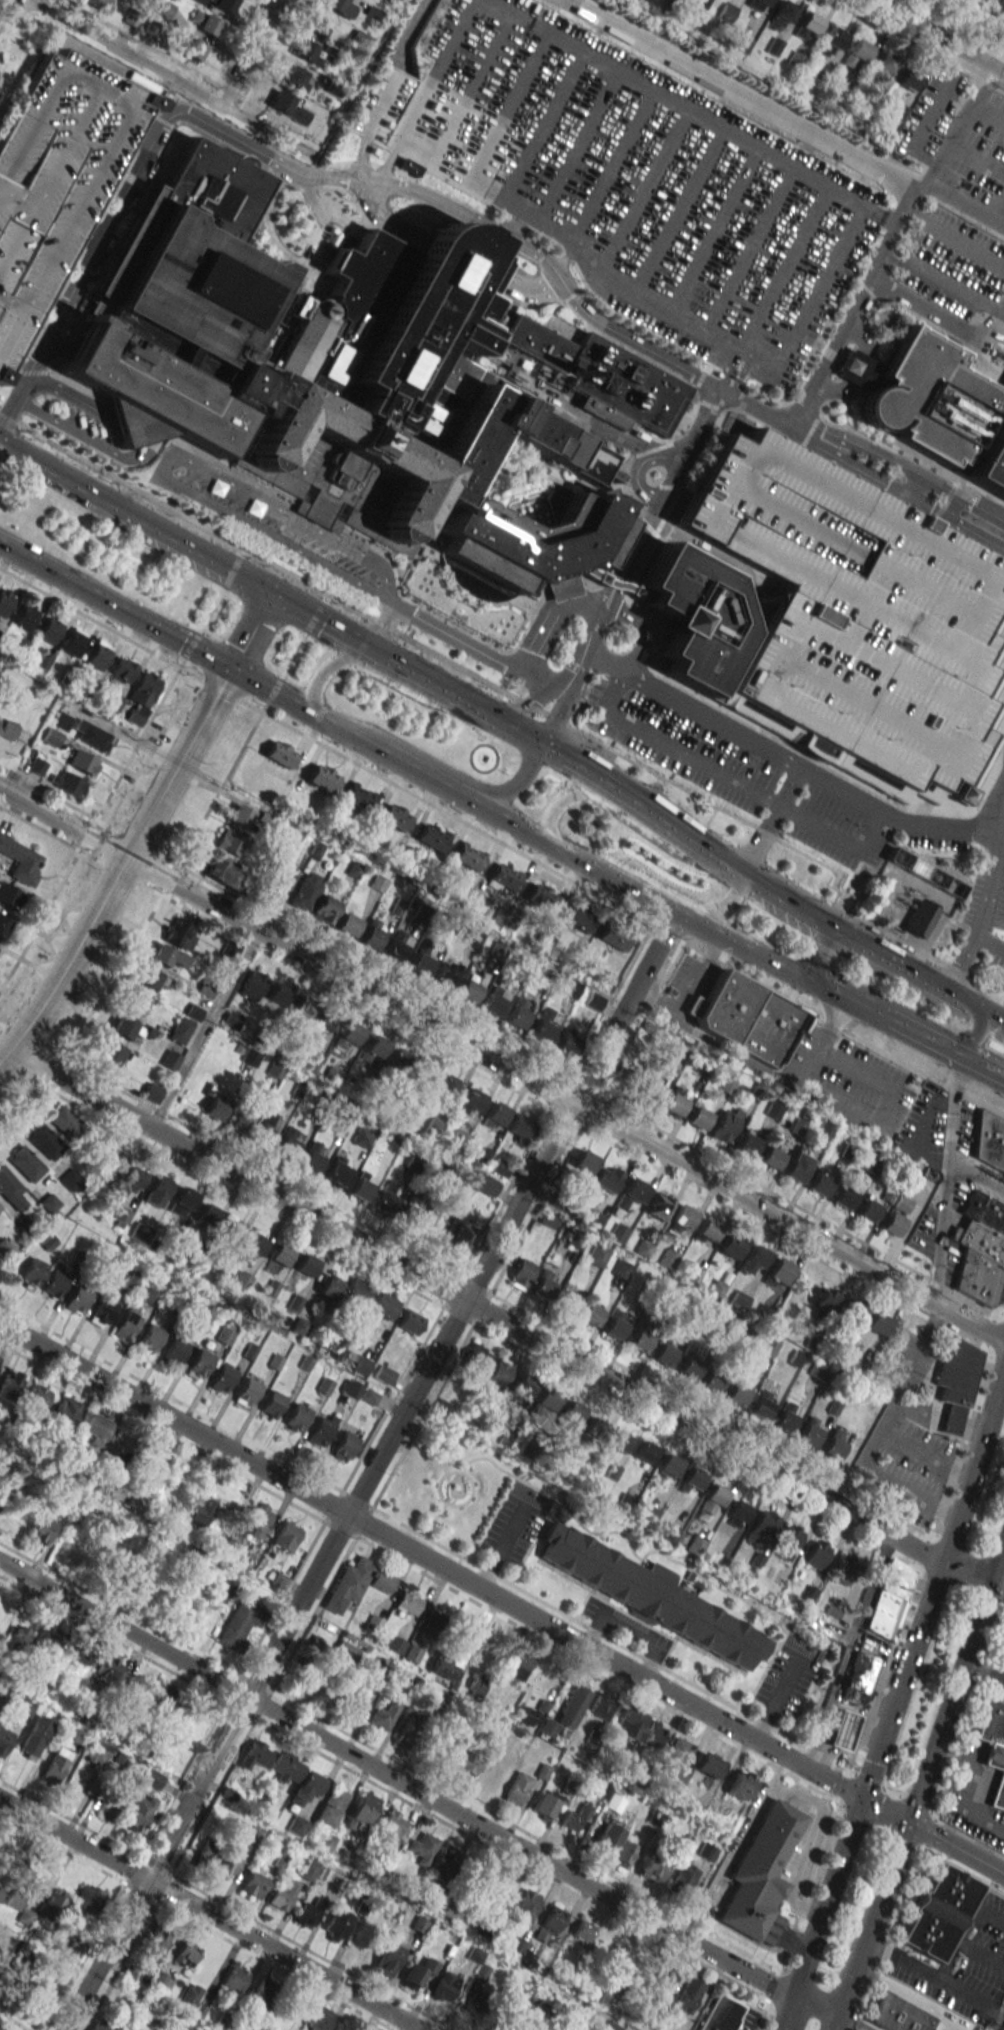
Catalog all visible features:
building: (391, 0)
road: (31, 2)
building: (976, 2)
building: (221, 4)
building: (757, 4)
building: (99, 5)
building: (339, 6)
building: (164, 8)
building: (997, 9)
building: (726, 12)
building: (782, 14)
building: (203, 22)
building: (316, 24)
building: (808, 24)
road: (958, 24)
road: (410, 29)
road: (936, 37)
building: (832, 40)
building: (192, 48)
building: (305, 51)
road: (248, 52)
building: (856, 52)
building: (884, 62)
road: (435, 71)
road: (165, 75)
building: (296, 78)
building: (907, 79)
road: (471, 87)
road: (738, 96)
parking lot: (381, 103)
building: (290, 107)
road: (381, 107)
road: (507, 107)
road: (989, 112)
road: (542, 126)
road: (962, 126)
road: (924, 127)
road: (577, 145)
road: (756, 149)
parking lot: (981, 155)
road: (359, 158)
road: (978, 158)
road: (386, 162)
road: (613, 165)
road: (329, 175)
building: (55, 178)
parking lot: (55, 178)
parking lot: (641, 184)
road: (644, 193)
road: (962, 200)
road: (999, 211)
road: (677, 212)
road: (381, 218)
road: (713, 231)
road: (954, 235)
road: (748, 250)
road: (564, 258)
road: (583, 258)
parking lot: (956, 265)
road: (783, 269)
road: (944, 285)
road: (529, 291)
road: (859, 304)
road: (932, 311)
road: (861, 336)
road: (21, 370)
road: (730, 370)
road: (740, 376)
building: (363, 382)
road: (831, 388)
building: (932, 406)
road: (583, 420)
parking lot: (88, 423)
road: (144, 447)
road: (167, 458)
road: (670, 461)
road: (902, 463)
road: (634, 473)
road: (910, 484)
road: (897, 492)
road: (951, 505)
road: (134, 520)
road: (638, 538)
road: (717, 560)
traffic signals: (271, 595)
building: (4, 601)
road: (115, 605)
road: (290, 605)
building: (24, 616)
road: (550, 621)
building: (694, 621)
building: (855, 621)
parking lot: (855, 621)
road: (381, 627)
building: (49, 629)
road: (641, 629)
road: (251, 631)
road: (339, 632)
building: (73, 641)
road: (476, 649)
road: (430, 650)
building: (97, 655)
road: (604, 661)
road: (400, 665)
traffic signals: (231, 668)
building: (122, 669)
road: (373, 673)
road: (267, 689)
building: (142, 697)
road: (526, 706)
road: (553, 717)
building: (61, 720)
building: (7, 728)
road: (510, 729)
road: (342, 731)
building: (91, 736)
building: (51, 737)
traffic signals: (537, 743)
building: (279, 753)
building: (82, 761)
road: (450, 771)
building: (321, 777)
road: (820, 777)
road: (730, 779)
building: (66, 782)
road: (584, 795)
building: (358, 796)
road: (459, 797)
parking lot: (793, 802)
road: (552, 810)
building: (240, 815)
building: (394, 816)
road: (769, 821)
road: (665, 826)
road: (646, 833)
building: (431, 836)
building: (229, 842)
road: (501, 843)
building: (467, 856)
building: (21, 860)
road: (121, 868)
building: (218, 871)
building: (923, 872)
building: (502, 877)
road: (665, 887)
building: (305, 891)
building: (9, 895)
building: (539, 896)
road: (772, 897)
power substation: (911, 900)
building: (323, 909)
road: (983, 911)
building: (575, 916)
building: (917, 918)
road: (679, 919)
building: (3, 924)
building: (346, 924)
road: (820, 927)
building: (178, 933)
building: (371, 934)
building: (612, 936)
building: (472, 938)
road: (989, 942)
building: (394, 947)
road: (809, 951)
building: (166, 955)
building: (420, 961)
road: (888, 965)
building: (446, 974)
building: (150, 978)
building: (251, 984)
building: (467, 990)
road: (687, 992)
building: (277, 994)
building: (592, 1001)
building: (137, 1004)
road: (855, 1006)
road: (963, 1006)
building: (302, 1007)
building: (517, 1013)
building: (746, 1019)
building: (324, 1020)
building: (184, 1023)
road: (994, 1023)
building: (124, 1027)
road: (204, 1029)
building: (540, 1029)
building: (347, 1037)
road: (976, 1038)
road: (926, 1040)
building: (565, 1043)
building: (372, 1048)
building: (110, 1053)
building: (250, 1056)
building: (169, 1059)
building: (397, 1060)
road: (501, 1065)
road: (985, 1067)
building: (421, 1073)
building: (331, 1076)
building: (446, 1085)
building: (649, 1087)
building: (151, 1092)
building: (674, 1100)
building: (215, 1101)
building: (469, 1101)
road: (884, 1104)
building: (773, 1108)
building: (493, 1115)
building: (697, 1117)
building: (65, 1121)
building: (238, 1122)
building: (724, 1124)
building: (433, 1125)
building: (266, 1128)
building: (518, 1128)
building: (361, 1137)
building: (394, 1137)
building: (44, 1141)
building: (288, 1142)
building: (746, 1142)
building: (989, 1142)
building: (310, 1158)
building: (769, 1158)
building: (583, 1161)
building: (25, 1163)
building: (795, 1166)
building: (336, 1171)
building: (606, 1178)
road: (945, 1179)
building: (71, 1180)
building: (481, 1182)
building: (125, 1183)
building: (818, 1183)
building: (359, 1185)
building: (11, 1190)
building: (156, 1190)
building: (631, 1193)
building: (842, 1197)
building: (385, 1198)
building: (181, 1202)
building: (900, 1203)
building: (657, 1205)
building: (0, 1207)
building: (866, 1211)
building: (409, 1213)
building: (206, 1214)
building: (681, 1217)
building: (891, 1224)
building: (228, 1231)
building: (705, 1231)
building: (139, 1232)
building: (617, 1232)
building: (459, 1237)
building: (5, 1245)
building: (729, 1246)
building: (250, 1249)
building: (979, 1249)
building: (279, 1254)
building: (596, 1255)
building: (667, 1258)
building: (752, 1258)
building: (305, 1264)
building: (621, 1270)
building: (521, 1271)
building: (778, 1271)
building: (32, 1272)
building: (129, 1281)
building: (54, 1283)
building: (543, 1284)
building: (329, 1287)
building: (356, 1291)
building: (76, 1298)
building: (824, 1298)
building: (565, 1301)
building: (383, 1305)
building: (853, 1309)
road: (480, 1310)
building: (101, 1311)
building: (589, 1314)
building: (127, 1321)
building: (409, 1321)
building: (876, 1323)
building: (615, 1324)
building: (639, 1336)
building: (150, 1337)
building: (766, 1349)
building: (174, 1351)
building: (663, 1353)
building: (476, 1357)
building: (198, 1364)
building: (688, 1366)
building: (817, 1371)
building: (383, 1372)
building: (497, 1373)
building: (222, 1378)
building: (710, 1381)
building: (955, 1382)
building: (9, 1385)
building: (521, 1386)
building: (737, 1389)
building: (246, 1391)
building: (37, 1398)
building: (762, 1398)
building: (545, 1400)
building: (271, 1403)
building: (441, 1407)
road: (425, 1408)
building: (571, 1411)
building: (64, 1414)
building: (297, 1415)
building: (785, 1416)
building: (593, 1428)
building: (321, 1429)
building: (98, 1430)
building: (808, 1431)
road: (880, 1434)
building: (618, 1440)
road: (435, 1441)
building: (833, 1444)
building: (343, 1446)
building: (643, 1451)
road: (925, 1457)
building: (149, 1458)
road: (975, 1461)
building: (667, 1466)
road: (369, 1472)
road: (444, 1473)
building: (690, 1481)
building: (105, 1485)
building: (137, 1499)
park: (467, 1499)
building: (712, 1499)
building: (0, 1502)
building: (89, 1507)
building: (202, 1510)
building: (736, 1512)
building: (259, 1516)
road: (433, 1518)
parking lot: (514, 1522)
building: (761, 1527)
building: (42, 1530)
building: (286, 1536)
road: (531, 1541)
building: (788, 1542)
building: (695, 1546)
road: (499, 1547)
road: (654, 1550)
building: (815, 1554)
road: (430, 1561)
road: (998, 1561)
building: (844, 1568)
road: (978, 1575)
building: (279, 1580)
building: (381, 1581)
building: (348, 1584)
building: (220, 1587)
building: (648, 1596)
road: (995, 1596)
building: (889, 1599)
building: (407, 1603)
road: (631, 1616)
building: (239, 1623)
building: (372, 1623)
building: (430, 1623)
road: (593, 1629)
road: (631, 1629)
building: (20, 1636)
building: (47, 1639)
building: (394, 1643)
building: (314, 1646)
building: (412, 1653)
road: (848, 1653)
building: (343, 1654)
building: (518, 1665)
building: (108, 1667)
building: (442, 1669)
road: (983, 1673)
building: (860, 1680)
road: (901, 1680)
building: (476, 1685)
building: (132, 1686)
building: (318, 1686)
building: (438, 1698)
building: (162, 1700)
road: (775, 1700)
road: (950, 1701)
building: (355, 1702)
building: (600, 1705)
building: (568, 1710)
building: (382, 1716)
building: (526, 1716)
building: (991, 1721)
building: (627, 1722)
building: (405, 1731)
building: (843, 1733)
building: (652, 1734)
building: (36, 1735)
building: (4, 1738)
building: (98, 1753)
building: (255, 1755)
building: (676, 1758)
building: (468, 1762)
building: (55, 1764)
building: (707, 1764)
building: (285, 1766)
building: (495, 1773)
building: (152, 1778)
building: (739, 1784)
road: (975, 1786)
road: (408, 1787)
building: (998, 1787)
building: (305, 1788)
building: (517, 1788)
traffic signals: (860, 1799)
building: (113, 1801)
building: (613, 1803)
building: (544, 1804)
building: (330, 1807)
road: (884, 1811)
building: (138, 1812)
building: (362, 1812)
building: (574, 1818)
traffic signals: (909, 1824)
building: (296, 1825)
building: (390, 1826)
building: (606, 1837)
building: (326, 1839)
road: (812, 1843)
building: (423, 1846)
road: (956, 1848)
road: (738, 1850)
building: (207, 1852)
building: (623, 1853)
building: (443, 1861)
building: (228, 1864)
building: (309, 1870)
building: (651, 1870)
building: (758, 1871)
building: (682, 1877)
building: (490, 1882)
building: (253, 1884)
building: (11, 1895)
building: (281, 1897)
road: (826, 1898)
building: (88, 1900)
building: (526, 1905)
building: (50, 1910)
building: (309, 1912)
building: (936, 1912)
road: (209, 1914)
building: (386, 1917)
building: (552, 1918)
road: (873, 1921)
building: (337, 1925)
building: (582, 1930)
road: (966, 1932)
building: (5, 1935)
building: (154, 1941)
building: (608, 1944)
building: (186, 1953)
road: (982, 1953)
building: (388, 1958)
building: (418, 1973)
building: (234, 1978)
building: (663, 1978)
road: (934, 1978)
building: (161, 1982)
building: (444, 1987)
building: (263, 1994)
building: (687, 1995)
building: (189, 1996)
road: (911, 2001)
building: (476, 2002)
building: (506, 2004)
road: (827, 2013)
building: (718, 2014)
road: (789, 2014)
building: (898, 2015)
building: (319, 2018)
road: (1001, 2023)
road: (834, 2024)
road: (849, 2024)
building: (100, 2026)
building: (611, 2026)
building: (131, 2028)

